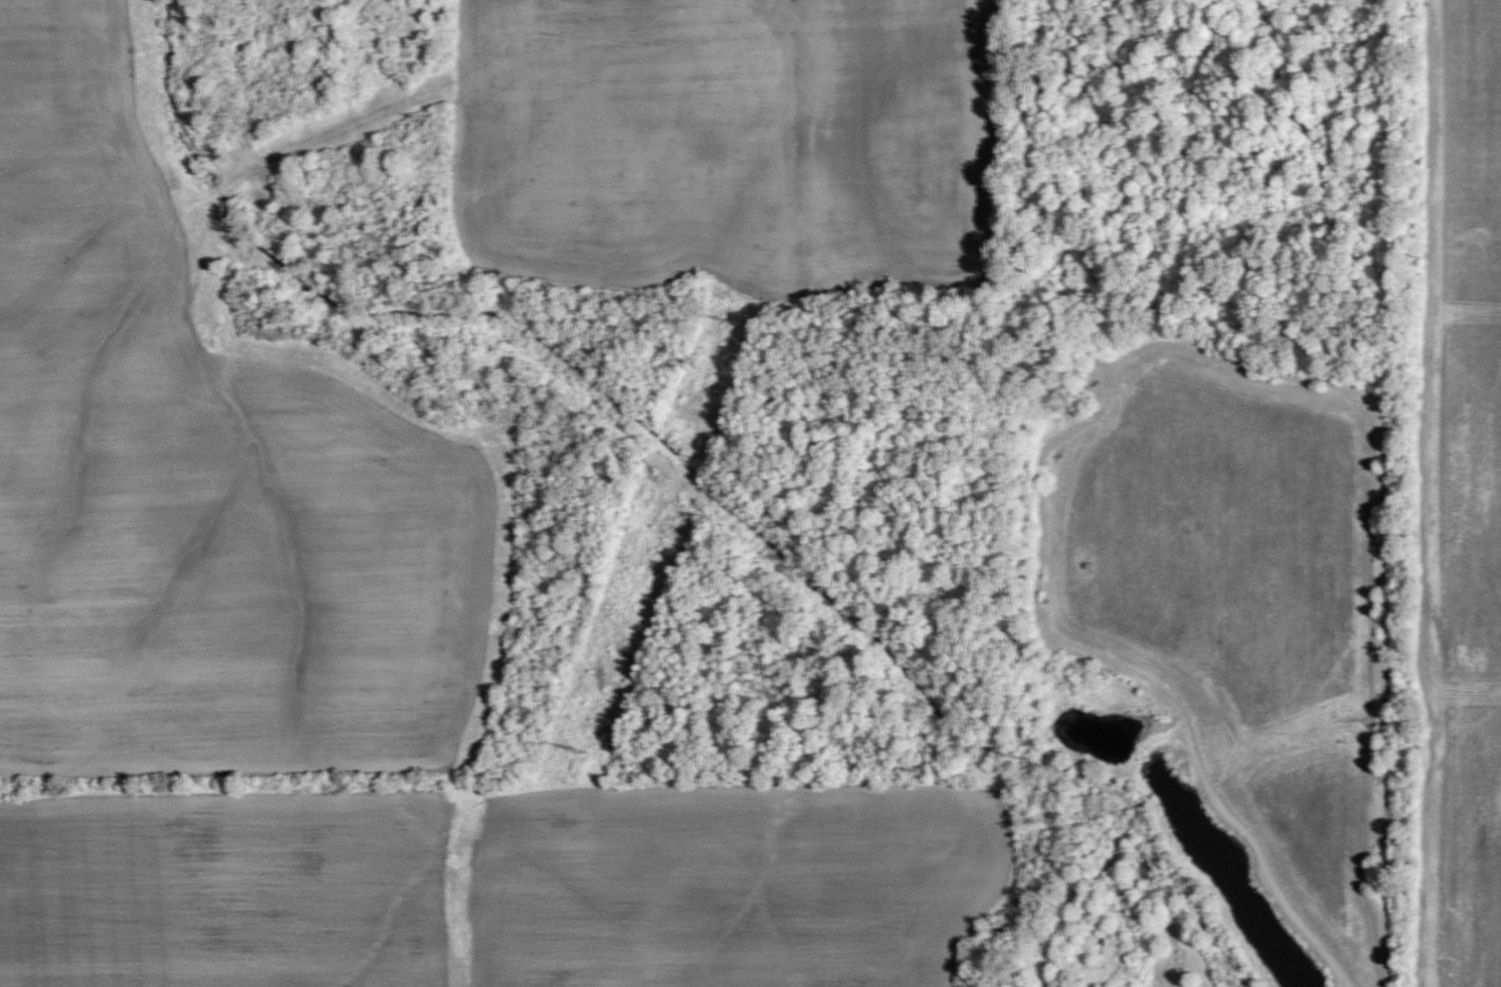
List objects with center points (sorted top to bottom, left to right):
power tower: (730, 325)
power tower: (576, 762)

